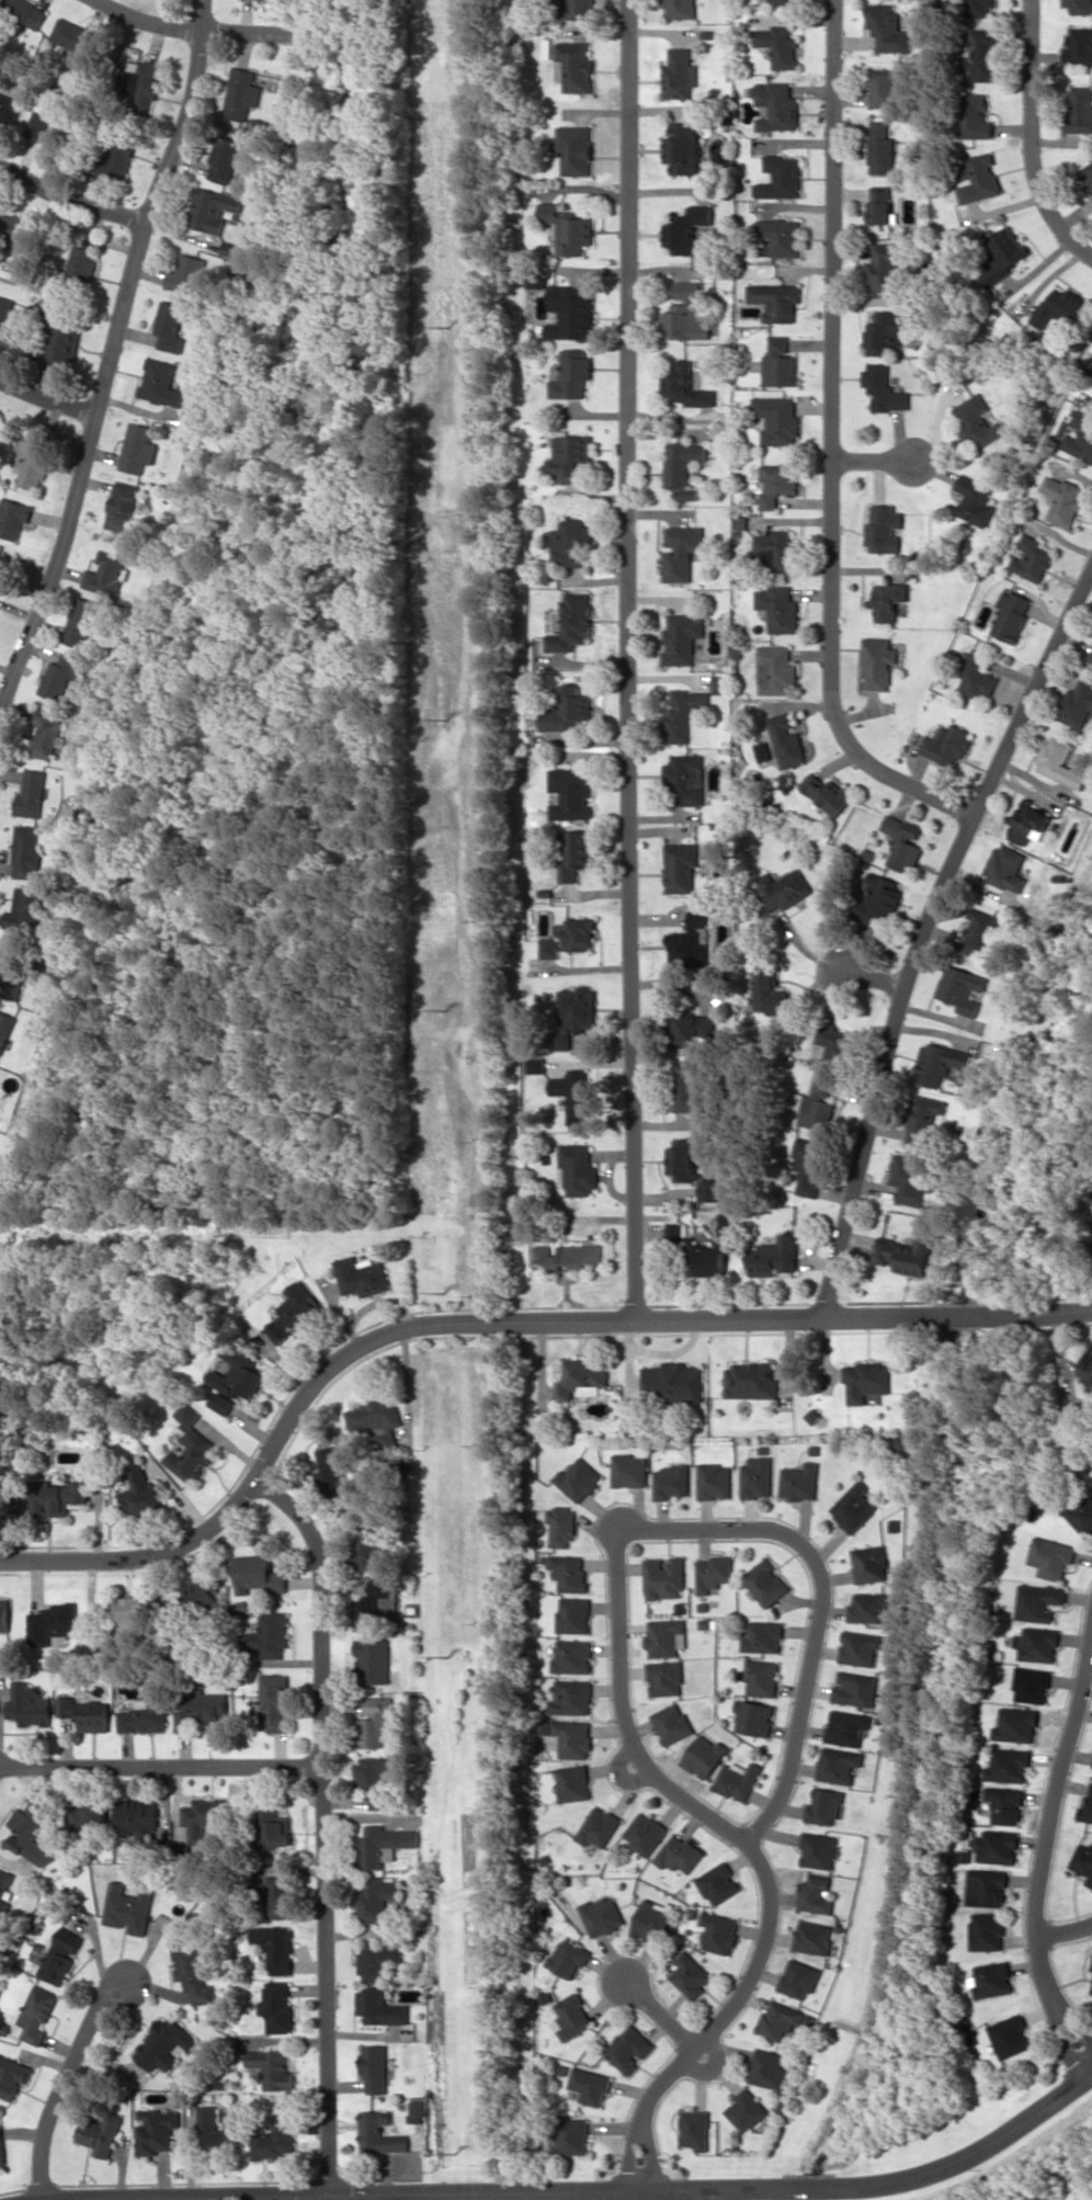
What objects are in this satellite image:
building: (783, 1)
building: (978, 7)
building: (579, 8)
building: (681, 9)
building: (24, 12)
road: (192, 27)
building: (886, 27)
building: (73, 35)
building: (778, 45)
building: (1079, 45)
building: (982, 55)
building: (575, 65)
building: (679, 73)
building: (145, 84)
building: (885, 86)
building: (243, 93)
building: (776, 106)
building: (8, 107)
building: (1080, 109)
building: (976, 116)
building: (44, 124)
road: (1036, 133)
building: (575, 148)
building: (681, 148)
building: (880, 148)
building: (116, 155)
building: (226, 159)
building: (1088, 173)
building: (780, 177)
building: (977, 180)
road: (70, 199)
building: (881, 205)
building: (213, 209)
building: (568, 228)
building: (684, 229)
building: (16, 231)
building: (780, 235)
building: (1004, 256)
building: (84, 260)
building: (888, 268)
building: (186, 274)
building: (687, 291)
building: (775, 300)
building: (1060, 307)
building: (570, 313)
building: (684, 321)
building: (170, 326)
power tower: (448, 326)
building: (43, 330)
building: (887, 332)
road: (111, 359)
building: (572, 374)
building: (161, 383)
building: (684, 386)
building: (886, 388)
road: (48, 396)
building: (193, 404)
building: (777, 419)
building: (977, 421)
building: (1080, 438)
road: (837, 444)
building: (139, 447)
building: (571, 458)
road: (879, 462)
building: (32, 463)
building: (683, 467)
building: (778, 484)
building: (977, 500)
building: (1063, 500)
building: (123, 507)
building: (13, 517)
building: (885, 529)
building: (569, 542)
building: (681, 551)
building: (778, 551)
building: (1032, 558)
building: (4, 567)
building: (107, 575)
building: (889, 600)
building: (780, 608)
building: (1012, 615)
building: (81, 621)
building: (571, 623)
building: (681, 638)
road: (633, 658)
building: (1091, 658)
building: (879, 662)
building: (777, 670)
building: (60, 677)
building: (977, 677)
building: (720, 683)
building: (1078, 705)
building: (567, 710)
building: (683, 714)
power tower: (444, 717)
building: (46, 734)
building: (787, 740)
building: (946, 745)
building: (1060, 762)
building: (685, 780)
building: (827, 793)
building: (33, 794)
building: (570, 794)
building: (1030, 823)
building: (902, 841)
building: (26, 851)
building: (576, 852)
building: (680, 867)
building: (1008, 867)
building: (784, 889)
building: (879, 898)
building: (24, 909)
building: (576, 933)
road: (926, 934)
building: (981, 934)
building: (691, 941)
building: (547, 948)
building: (12, 973)
road: (874, 976)
building: (963, 988)
building: (769, 991)
power tower: (444, 1010)
building: (575, 1013)
building: (5, 1029)
building: (692, 1029)
building: (831, 1045)
building: (937, 1063)
building: (535, 1064)
building: (689, 1087)
building: (573, 1092)
building: (816, 1105)
building: (925, 1120)
building: (682, 1159)
building: (807, 1166)
building: (577, 1169)
building: (910, 1180)
building: (710, 1190)
building: (673, 1231)
building: (905, 1255)
building: (568, 1257)
building: (775, 1257)
building: (362, 1275)
power tower: (446, 1291)
building: (294, 1313)
road: (496, 1323)
building: (580, 1380)
building: (866, 1380)
building: (751, 1381)
building: (235, 1382)
building: (673, 1382)
building: (1072, 1411)
building: (374, 1415)
building: (190, 1448)
building: (334, 1468)
building: (628, 1470)
building: (755, 1477)
building: (577, 1479)
building: (669, 1481)
building: (713, 1481)
building: (799, 1482)
road: (440, 1485)
building: (138, 1493)
building: (56, 1497)
building: (854, 1507)
building: (1082, 1515)
building: (560, 1526)
road: (646, 1528)
building: (372, 1549)
building: (1051, 1556)
building: (869, 1564)
building: (568, 1572)
building: (712, 1573)
building: (258, 1574)
building: (662, 1577)
building: (765, 1583)
building: (200, 1594)
building: (1039, 1601)
building: (372, 1608)
building: (869, 1608)
river: (953, 1608)
building: (4, 1614)
building: (572, 1614)
building: (125, 1620)
building: (52, 1622)
building: (269, 1635)
building: (663, 1636)
building: (763, 1637)
building: (1037, 1644)
building: (860, 1648)
building: (571, 1656)
power tower: (448, 1657)
building: (374, 1659)
building: (664, 1678)
building: (761, 1678)
building: (1032, 1685)
building: (855, 1688)
building: (571, 1698)
building: (274, 1701)
building: (200, 1708)
building: (82, 1714)
building: (143, 1714)
building: (753, 1717)
building: (375, 1722)
building: (671, 1723)
building: (1016, 1725)
building: (846, 1727)
building: (572, 1738)
building: (704, 1756)
road: (159, 1762)
building: (838, 1765)
building: (1008, 1765)
building: (373, 1771)
building: (738, 1779)
building: (572, 1783)
building: (378, 1801)
building: (1005, 1804)
building: (1088, 1804)
building: (823, 1806)
building: (88, 1815)
road: (1053, 1817)
building: (198, 1818)
building: (137, 1821)
building: (272, 1825)
road: (322, 1825)
building: (598, 1827)
building: (645, 1833)
building: (30, 1834)
building: (383, 1845)
building: (997, 1847)
building: (818, 1850)
building: (679, 1853)
building: (1083, 1861)
building: (718, 1883)
building: (987, 1887)
building: (3, 1891)
building: (817, 1894)
building: (276, 1895)
building: (377, 1900)
building: (128, 1907)
building: (602, 1915)
building: (652, 1920)
building: (987, 1931)
building: (719, 1932)
building: (814, 1938)
building: (275, 1947)
building: (569, 1957)
building: (377, 1959)
building: (58, 1960)
building: (1091, 1967)
building: (193, 1971)
building: (691, 1974)
building: (799, 1978)
building: (993, 1980)
road: (1057, 1998)
building: (277, 2007)
building: (379, 2007)
road: (659, 2012)
building: (34, 2015)
building: (572, 2016)
road: (718, 2019)
building: (778, 2019)
building: (1010, 2035)
building: (162, 2044)
building: (629, 2049)
building: (272, 2068)
building: (375, 2068)
building: (769, 2068)
building: (12, 2076)
road: (64, 2085)
building: (590, 2085)
building: (748, 2110)
building: (417, 2111)
building: (695, 2129)
building: (156, 2130)
building: (379, 2133)
building: (100, 2134)
building: (213, 2134)
building: (572, 2135)
building: (274, 2139)
building: (1, 2148)
power tower: (455, 2155)
road: (976, 2161)
road: (806, 2189)
road: (481, 2195)

